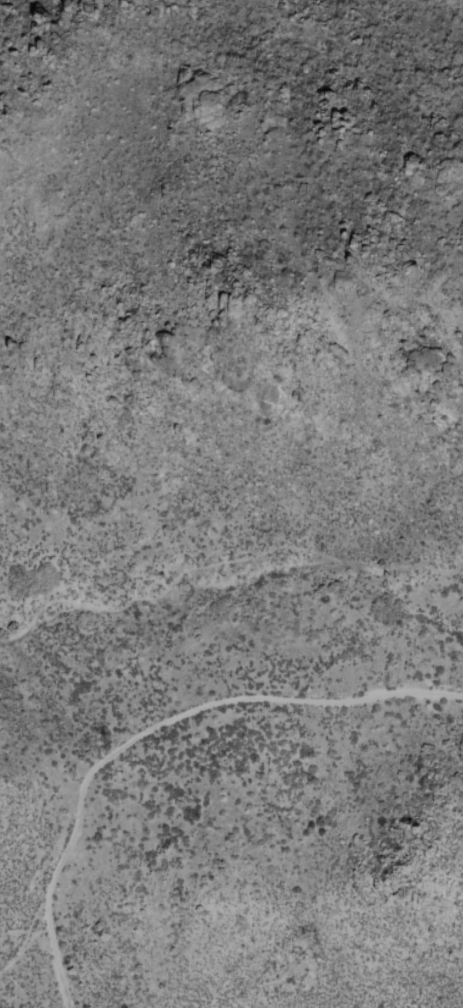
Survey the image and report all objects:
road: (149, 724)

